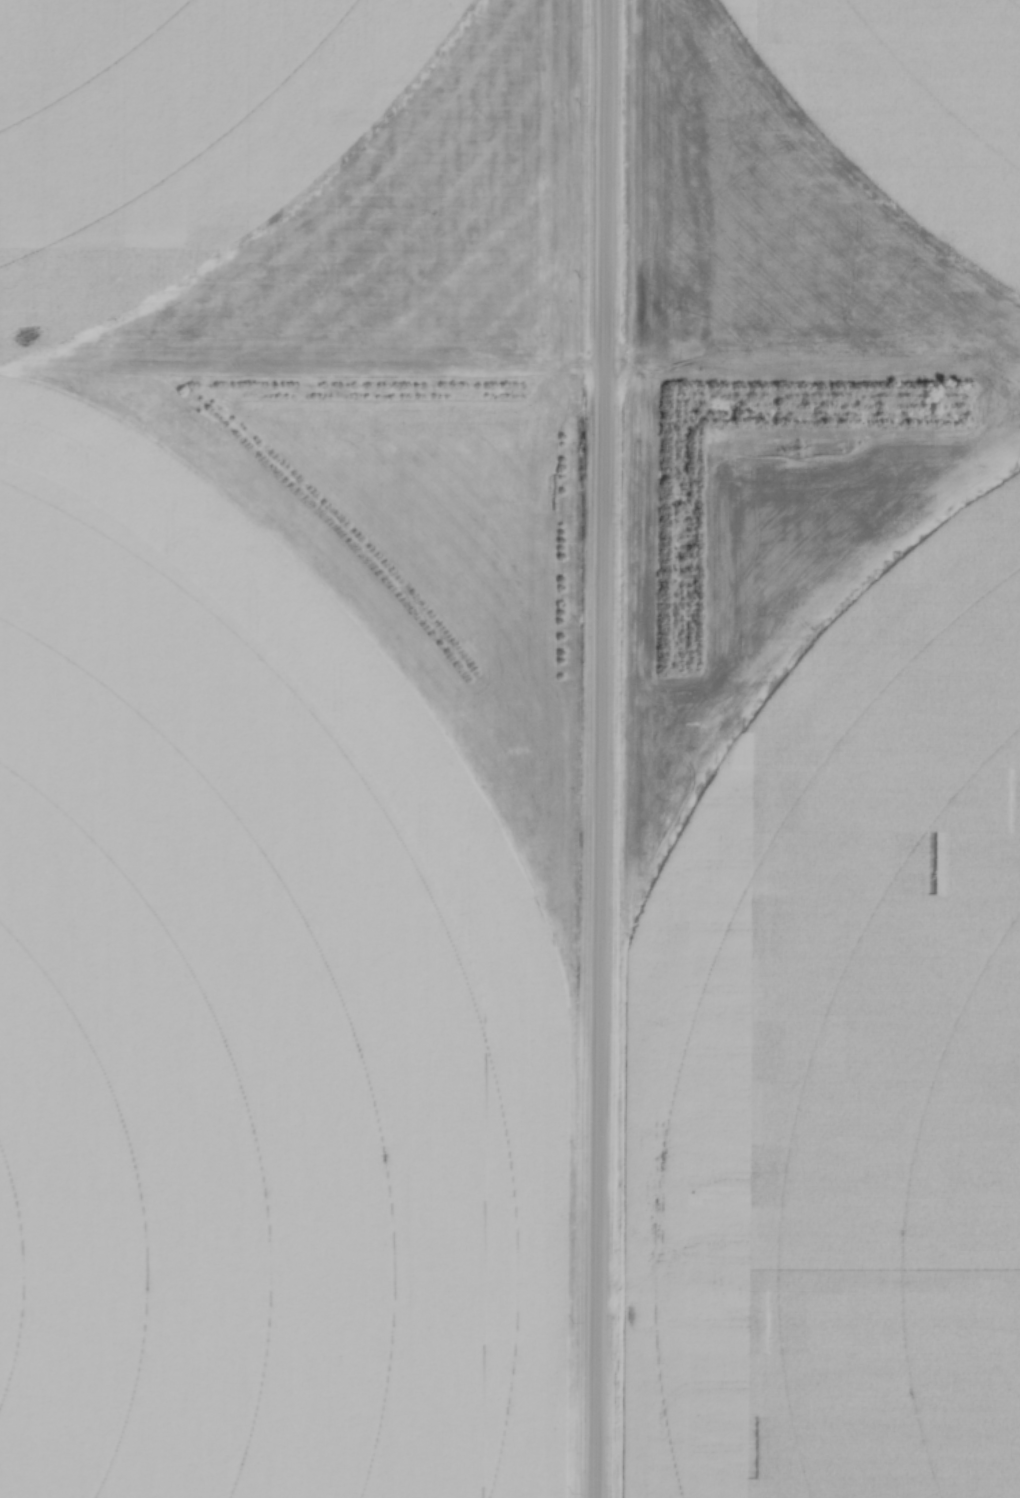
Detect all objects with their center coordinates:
road: (601, 749)

